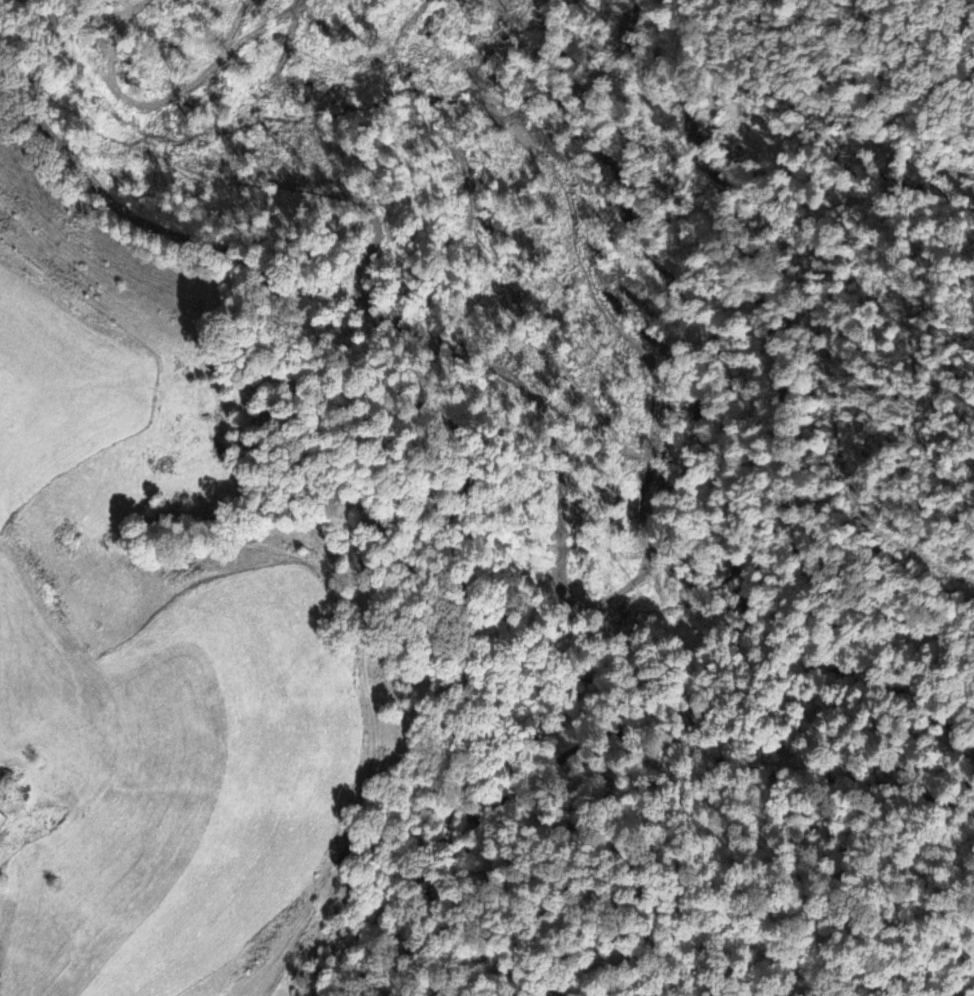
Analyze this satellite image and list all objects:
road: (778, 370)
road: (461, 536)
building: (3, 816)

